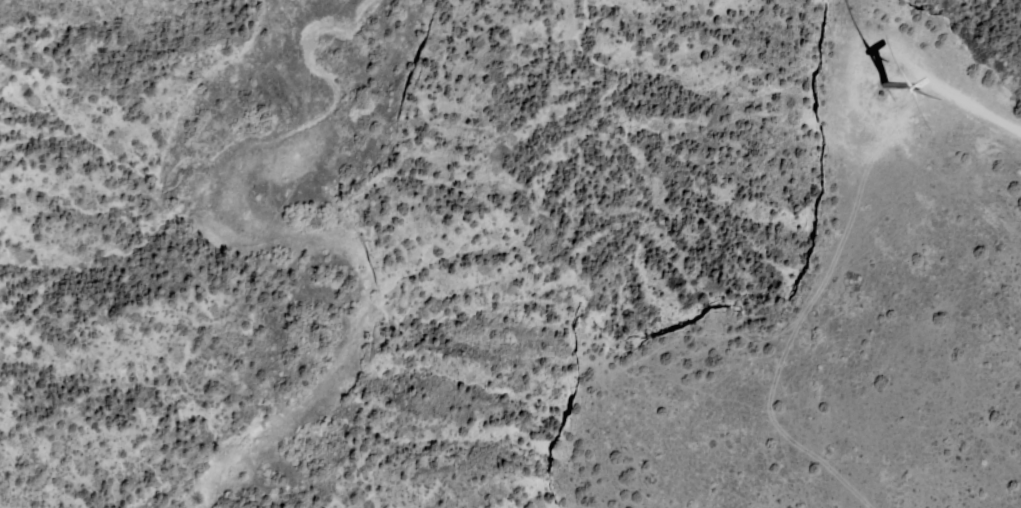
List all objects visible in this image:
wind turbine: (886, 85)
road: (977, 109)
road: (812, 301)

